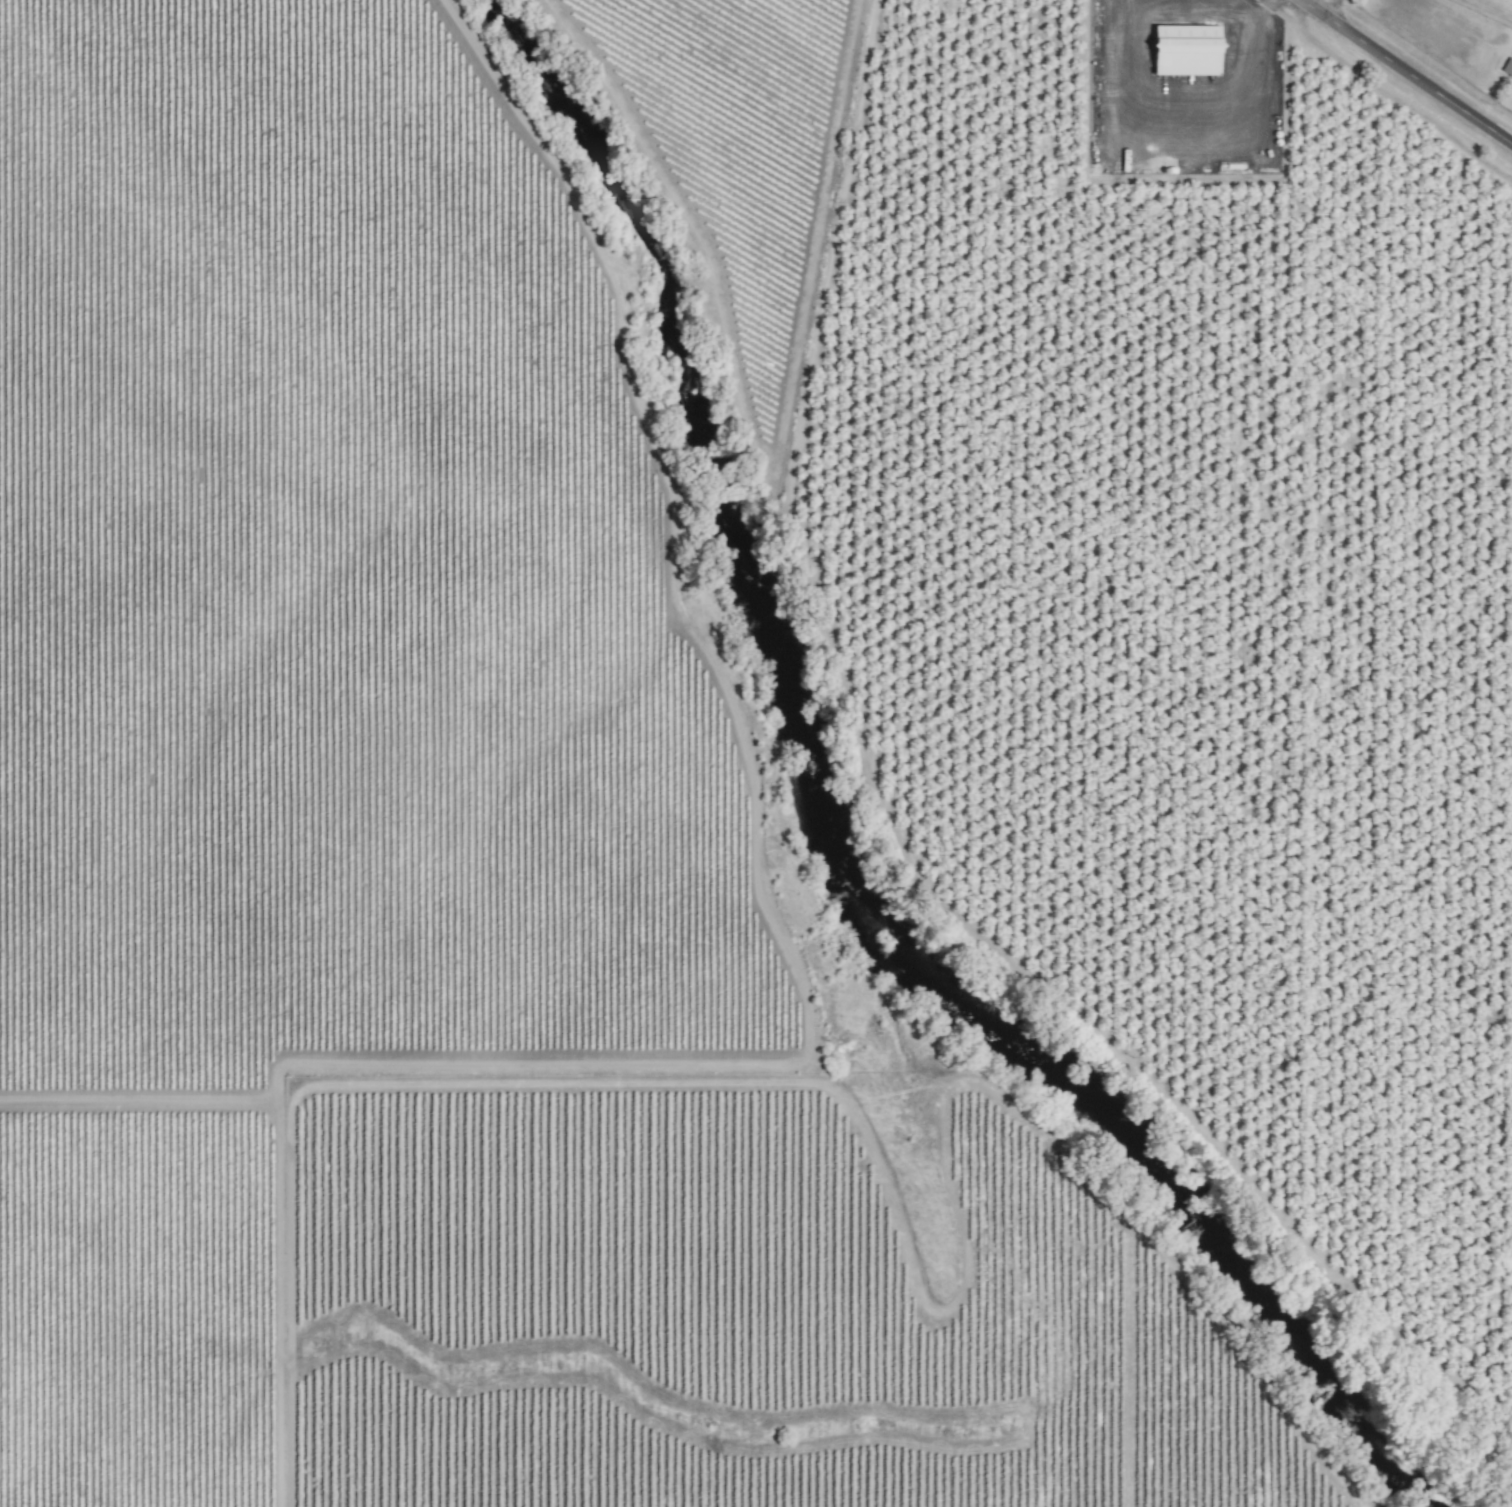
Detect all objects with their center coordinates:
road: (1243, 17)
building: (1181, 50)
building: (1506, 68)
road: (1405, 72)
road: (1177, 101)

